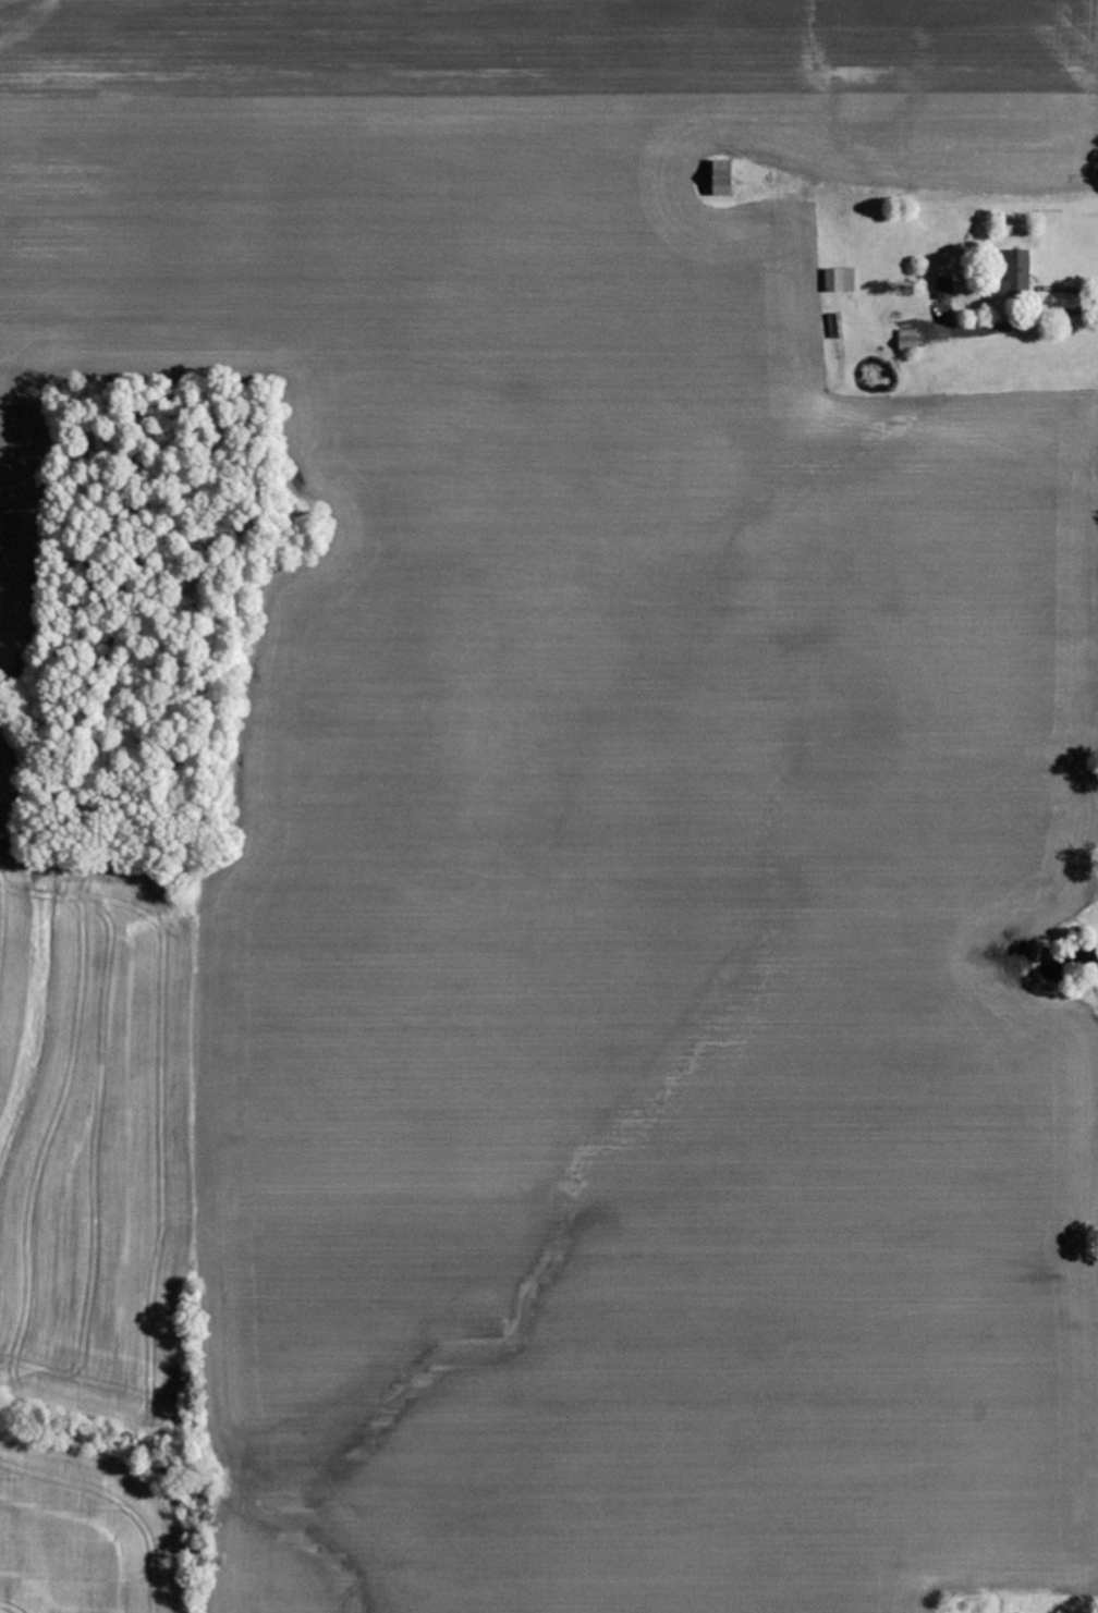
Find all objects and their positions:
building: (727, 179)
building: (1020, 271)
building: (841, 281)
building: (947, 289)
building: (837, 326)

